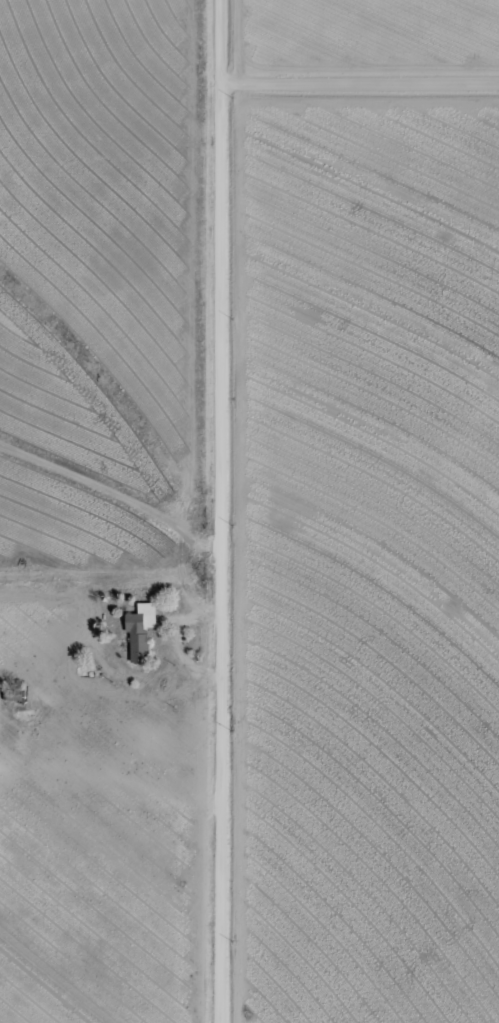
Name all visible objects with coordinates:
road: (355, 85)
road: (109, 488)
road: (212, 511)

